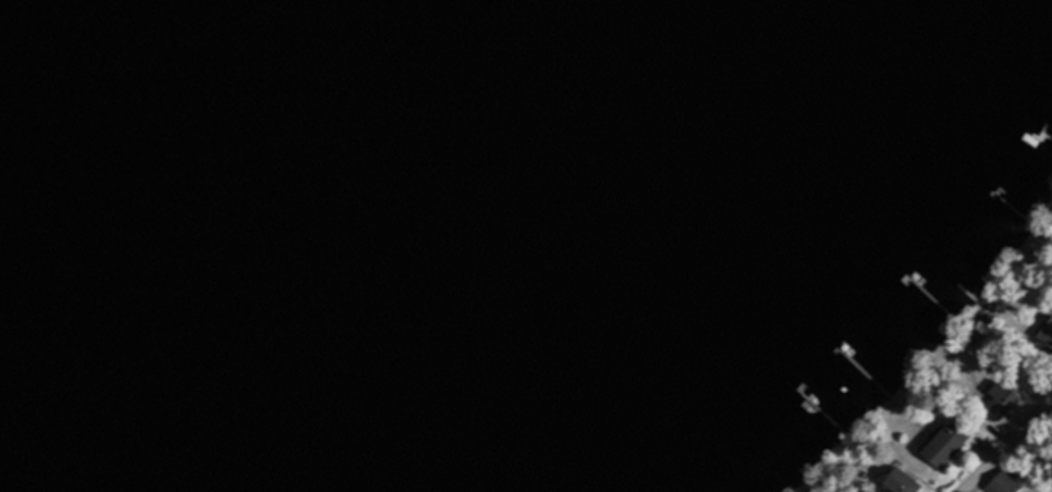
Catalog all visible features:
building: (1051, 336)
building: (1003, 404)
road: (1005, 441)
building: (950, 445)
building: (1004, 483)

